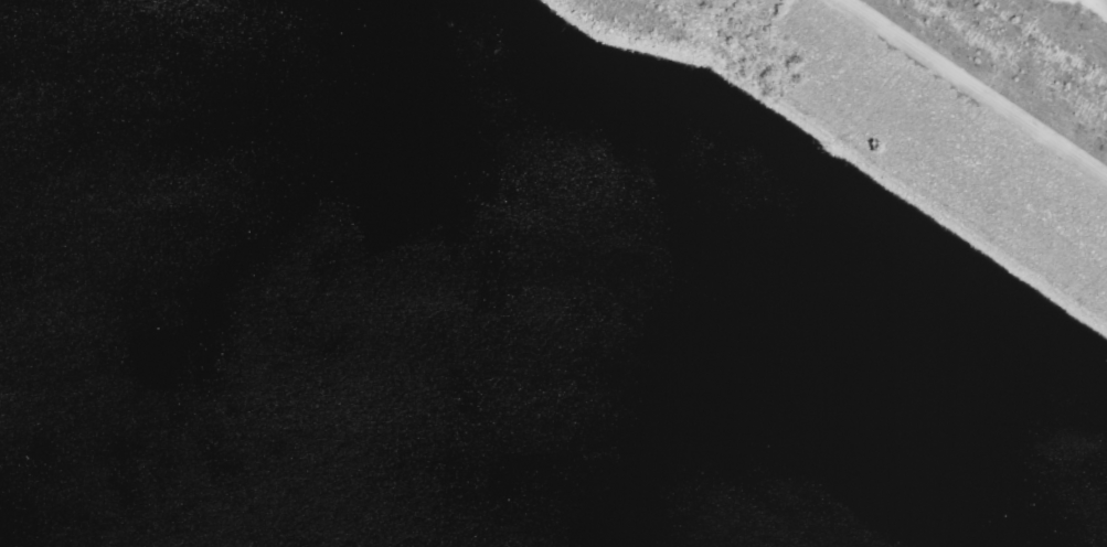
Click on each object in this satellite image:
road: (968, 94)
dam: (934, 121)

